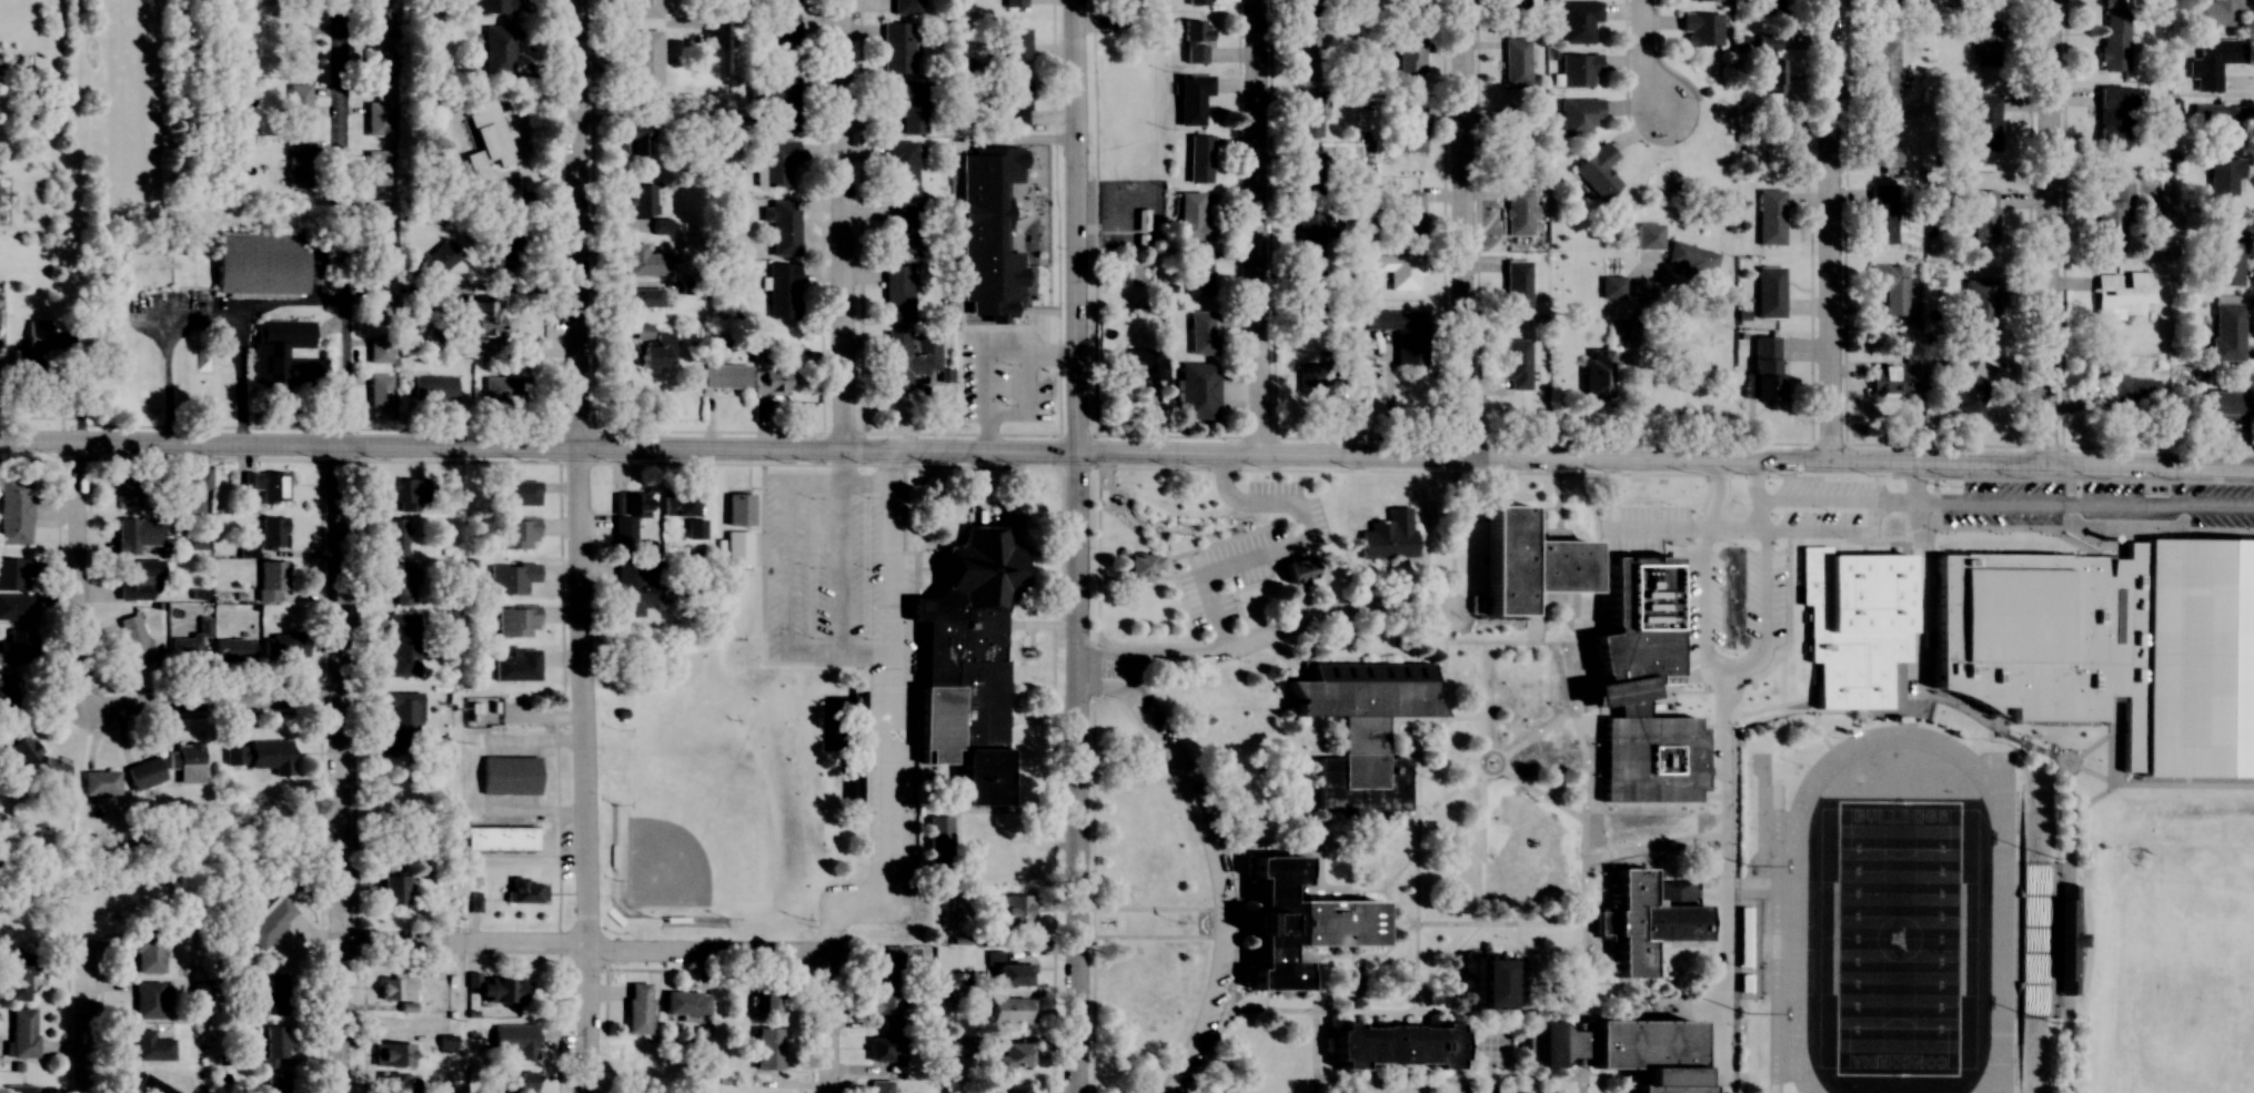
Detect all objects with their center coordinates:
building: (1198, 2)
building: (1885, 2)
building: (298, 3)
building: (784, 3)
building: (1014, 3)
building: (1516, 3)
building: (1121, 4)
building: (492, 6)
building: (905, 7)
building: (1770, 7)
building: (1309, 8)
building: (644, 9)
building: (1412, 11)
building: (2221, 12)
building: (1579, 20)
building: (375, 26)
building: (1701, 29)
building: (2115, 40)
building: (1195, 41)
building: (784, 42)
building: (1985, 42)
building: (1015, 43)
building: (296, 45)
building: (897, 48)
building: (499, 49)
building: (1310, 53)
road: (1641, 58)
building: (2217, 60)
building: (644, 63)
building: (1410, 63)
building: (1516, 63)
building: (13, 64)
building: (1771, 67)
building: (1579, 69)
building: (376, 70)
building: (1883, 70)
building: (1191, 98)
building: (776, 102)
building: (1012, 102)
building: (904, 103)
building: (299, 105)
building: (1309, 114)
building: (1579, 117)
building: (2112, 118)
building: (376, 119)
building: (1984, 121)
building: (2220, 124)
building: (1412, 129)
building: (1515, 133)
building: (487, 138)
building: (635, 139)
building: (1883, 140)
building: (1200, 154)
building: (773, 161)
building: (300, 165)
building: (378, 168)
building: (898, 168)
building: (1598, 171)
building: (1311, 174)
building: (2225, 183)
building: (641, 200)
road: (535, 206)
building: (1518, 211)
building: (1882, 214)
building: (1410, 215)
building: (379, 216)
building: (1984, 216)
building: (1194, 217)
building: (1771, 217)
building: (2113, 219)
road: (342, 223)
road: (842, 225)
building: (661, 226)
building: (783, 226)
road: (1252, 227)
road: (1460, 229)
road: (1829, 231)
building: (903, 232)
road: (2053, 232)
building: (1311, 235)
building: (230, 255)
building: (502, 256)
building: (1691, 257)
building: (2226, 257)
building: (435, 260)
building: (645, 261)
building: (379, 262)
building: (1401, 271)
building: (1201, 273)
building: (1518, 286)
building: (1612, 286)
building: (1892, 287)
building: (782, 291)
building: (896, 292)
building: (1769, 292)
building: (1312, 294)
building: (2122, 294)
building: (645, 298)
building: (379, 304)
building: (1979, 306)
building: (483, 320)
building: (2226, 327)
building: (1203, 332)
building: (1402, 332)
building: (379, 346)
building: (656, 352)
building: (283, 355)
building: (19, 356)
building: (909, 357)
road: (1641, 360)
building: (1143, 364)
building: (1518, 364)
building: (1764, 368)
building: (1593, 373)
building: (725, 375)
building: (1307, 377)
building: (1896, 379)
building: (773, 382)
building: (1962, 383)
building: (434, 387)
building: (2130, 388)
building: (380, 391)
building: (504, 391)
building: (1197, 391)
building: (2224, 405)
road: (443, 447)
road: (1571, 458)
road: (1587, 473)
building: (266, 485)
building: (190, 488)
building: (515, 493)
building: (128, 494)
building: (403, 494)
road: (1557, 502)
building: (678, 504)
road: (1542, 508)
building: (14, 509)
building: (738, 509)
parking lot: (2094, 510)
building: (1151, 513)
parking lot: (1802, 513)
building: (627, 516)
road: (1128, 520)
road: (1170, 528)
road: (2093, 528)
building: (272, 532)
building: (515, 533)
building: (137, 534)
building: (398, 535)
building: (1389, 537)
road: (1098, 540)
road: (1774, 544)
road: (580, 546)
road: (1074, 546)
building: (742, 548)
building: (1525, 561)
road: (1916, 564)
building: (1139, 567)
building: (1296, 571)
building: (13, 574)
parking lot: (1694, 575)
parking lot: (1217, 576)
parking lot: (1217, 576)
building: (137, 577)
building: (511, 578)
building: (270, 580)
building: (401, 583)
building: (632, 587)
building: (1239, 594)
road: (1759, 596)
road: (1392, 597)
road: (1166, 601)
building: (14, 607)
road: (1304, 607)
building: (1854, 620)
building: (516, 621)
road: (1466, 621)
road: (1262, 636)
building: (134, 639)
road: (1136, 642)
building: (2111, 644)
building: (288, 645)
building: (403, 646)
building: (16, 647)
building: (234, 649)
building: (967, 660)
building: (516, 666)
road: (1124, 668)
road: (1650, 669)
road: (80, 697)
road: (1923, 698)
building: (9, 700)
road: (1767, 708)
road: (1443, 711)
road: (1854, 715)
road: (1996, 720)
road: (887, 721)
road: (1581, 722)
road: (2111, 723)
building: (402, 726)
building: (1360, 728)
road: (2089, 747)
building: (20, 749)
road: (1433, 752)
road: (1532, 752)
building: (260, 756)
road: (2052, 756)
building: (1648, 759)
building: (189, 762)
road: (1720, 767)
road: (333, 770)
road: (2092, 772)
building: (144, 775)
building: (509, 776)
building: (52, 778)
road: (1481, 782)
building: (100, 783)
road: (2183, 786)
park: (718, 789)
road: (1423, 810)
road: (1708, 822)
road: (1643, 828)
building: (496, 839)
building: (938, 842)
road: (1341, 846)
road: (1275, 847)
road: (1612, 856)
road: (1211, 861)
road: (1319, 868)
road: (1399, 873)
road: (1415, 876)
parking lot: (1227, 887)
building: (393, 889)
road: (1335, 889)
building: (526, 892)
stadium: (1890, 905)
road: (1398, 907)
road: (1158, 908)
building: (1015, 911)
building: (1644, 920)
building: (270, 922)
building: (1298, 922)
road: (1497, 924)
road: (1589, 934)
road: (1157, 937)
building: (1743, 937)
park: (1898, 937)
track: (1793, 938)
building: (2061, 940)
road: (581, 943)
building: (149, 954)
road: (1448, 955)
road: (1358, 958)
building: (888, 962)
road: (1601, 962)
park: (2180, 967)
building: (1008, 972)
building: (18, 979)
road: (1355, 983)
road: (1602, 983)
building: (1488, 984)
building: (395, 988)
building: (505, 991)
building: (268, 992)
building: (148, 1000)
building: (768, 1001)
building: (686, 1002)
building: (636, 1009)
building: (886, 1010)
building: (1009, 1011)
road: (1461, 1012)
road: (81, 1016)
road: (825, 1022)
road: (1314, 1025)
building: (22, 1033)
building: (515, 1040)
building: (444, 1043)
building: (958, 1045)
road: (2061, 1045)
building: (152, 1046)
building: (1395, 1046)
building: (768, 1049)
building: (884, 1049)
building: (272, 1050)
building: (1621, 1051)
building: (393, 1055)
building: (1014, 1055)
road: (1453, 1077)
road: (1523, 1081)
building: (514, 1082)
building: (274, 1083)
building: (396, 1083)
building: (151, 1086)
building: (879, 1086)
parking lot: (1428, 1089)
building: (19, 1090)
building: (1013, 1090)

